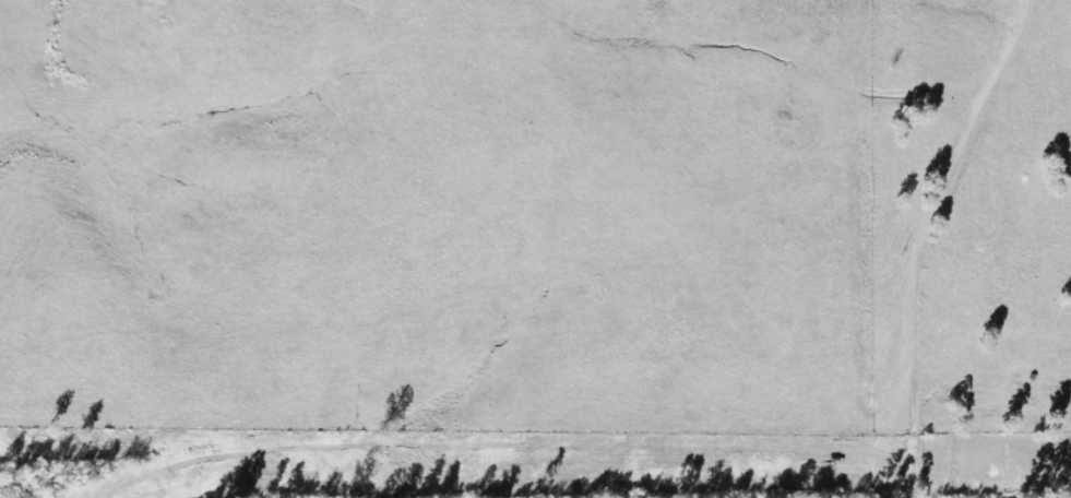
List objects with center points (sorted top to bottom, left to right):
road: (976, 241)

